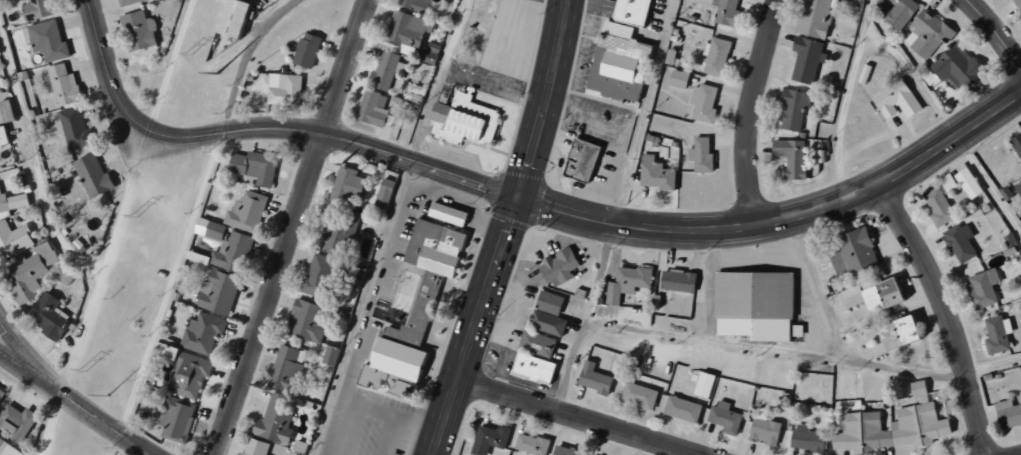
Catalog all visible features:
building: (126, 2)
building: (414, 4)
building: (1017, 4)
building: (42, 8)
building: (633, 11)
building: (896, 11)
building: (725, 13)
building: (228, 18)
building: (813, 18)
building: (137, 31)
road: (996, 31)
building: (408, 32)
building: (926, 35)
building: (50, 40)
building: (305, 50)
road: (554, 52)
building: (0, 53)
power tower: (189, 54)
building: (715, 56)
road: (244, 59)
building: (805, 59)
building: (952, 67)
building: (619, 68)
building: (386, 71)
power tower: (217, 73)
building: (677, 79)
building: (67, 85)
building: (283, 89)
road: (845, 100)
building: (894, 101)
building: (701, 103)
building: (372, 108)
building: (791, 110)
road: (752, 111)
building: (463, 118)
building: (76, 128)
road: (262, 128)
building: (5, 136)
building: (1016, 145)
road: (530, 152)
building: (700, 155)
building: (790, 157)
building: (582, 160)
building: (256, 166)
road: (34, 167)
building: (654, 174)
building: (96, 176)
building: (946, 182)
building: (966, 183)
building: (346, 186)
building: (1018, 189)
building: (382, 199)
traffic signals: (517, 200)
road: (826, 207)
building: (937, 207)
building: (249, 212)
road: (561, 212)
building: (445, 214)
power tower: (138, 217)
road: (290, 226)
building: (342, 229)
building: (213, 233)
road: (505, 235)
building: (15, 239)
building: (959, 242)
building: (231, 253)
building: (851, 253)
road: (106, 263)
building: (558, 267)
building: (33, 273)
building: (322, 276)
building: (676, 281)
road: (169, 282)
building: (626, 283)
building: (981, 288)
building: (222, 293)
building: (417, 294)
building: (879, 296)
building: (753, 306)
building: (546, 314)
road: (947, 315)
building: (51, 316)
building: (309, 321)
road: (362, 324)
building: (205, 333)
building: (895, 333)
building: (996, 334)
building: (535, 344)
building: (332, 354)
road: (463, 362)
road: (994, 366)
building: (290, 368)
building: (531, 368)
power tower: (85, 371)
building: (189, 372)
building: (592, 378)
building: (702, 385)
building: (638, 395)
building: (2, 396)
power tower: (107, 396)
road: (76, 405)
building: (681, 409)
building: (1007, 414)
building: (723, 417)
road: (575, 418)
building: (179, 419)
building: (20, 422)
building: (919, 425)
building: (763, 431)
road: (392, 436)
building: (488, 439)
building: (806, 439)
building: (530, 445)
building: (259, 447)
building: (9, 448)
building: (565, 451)

